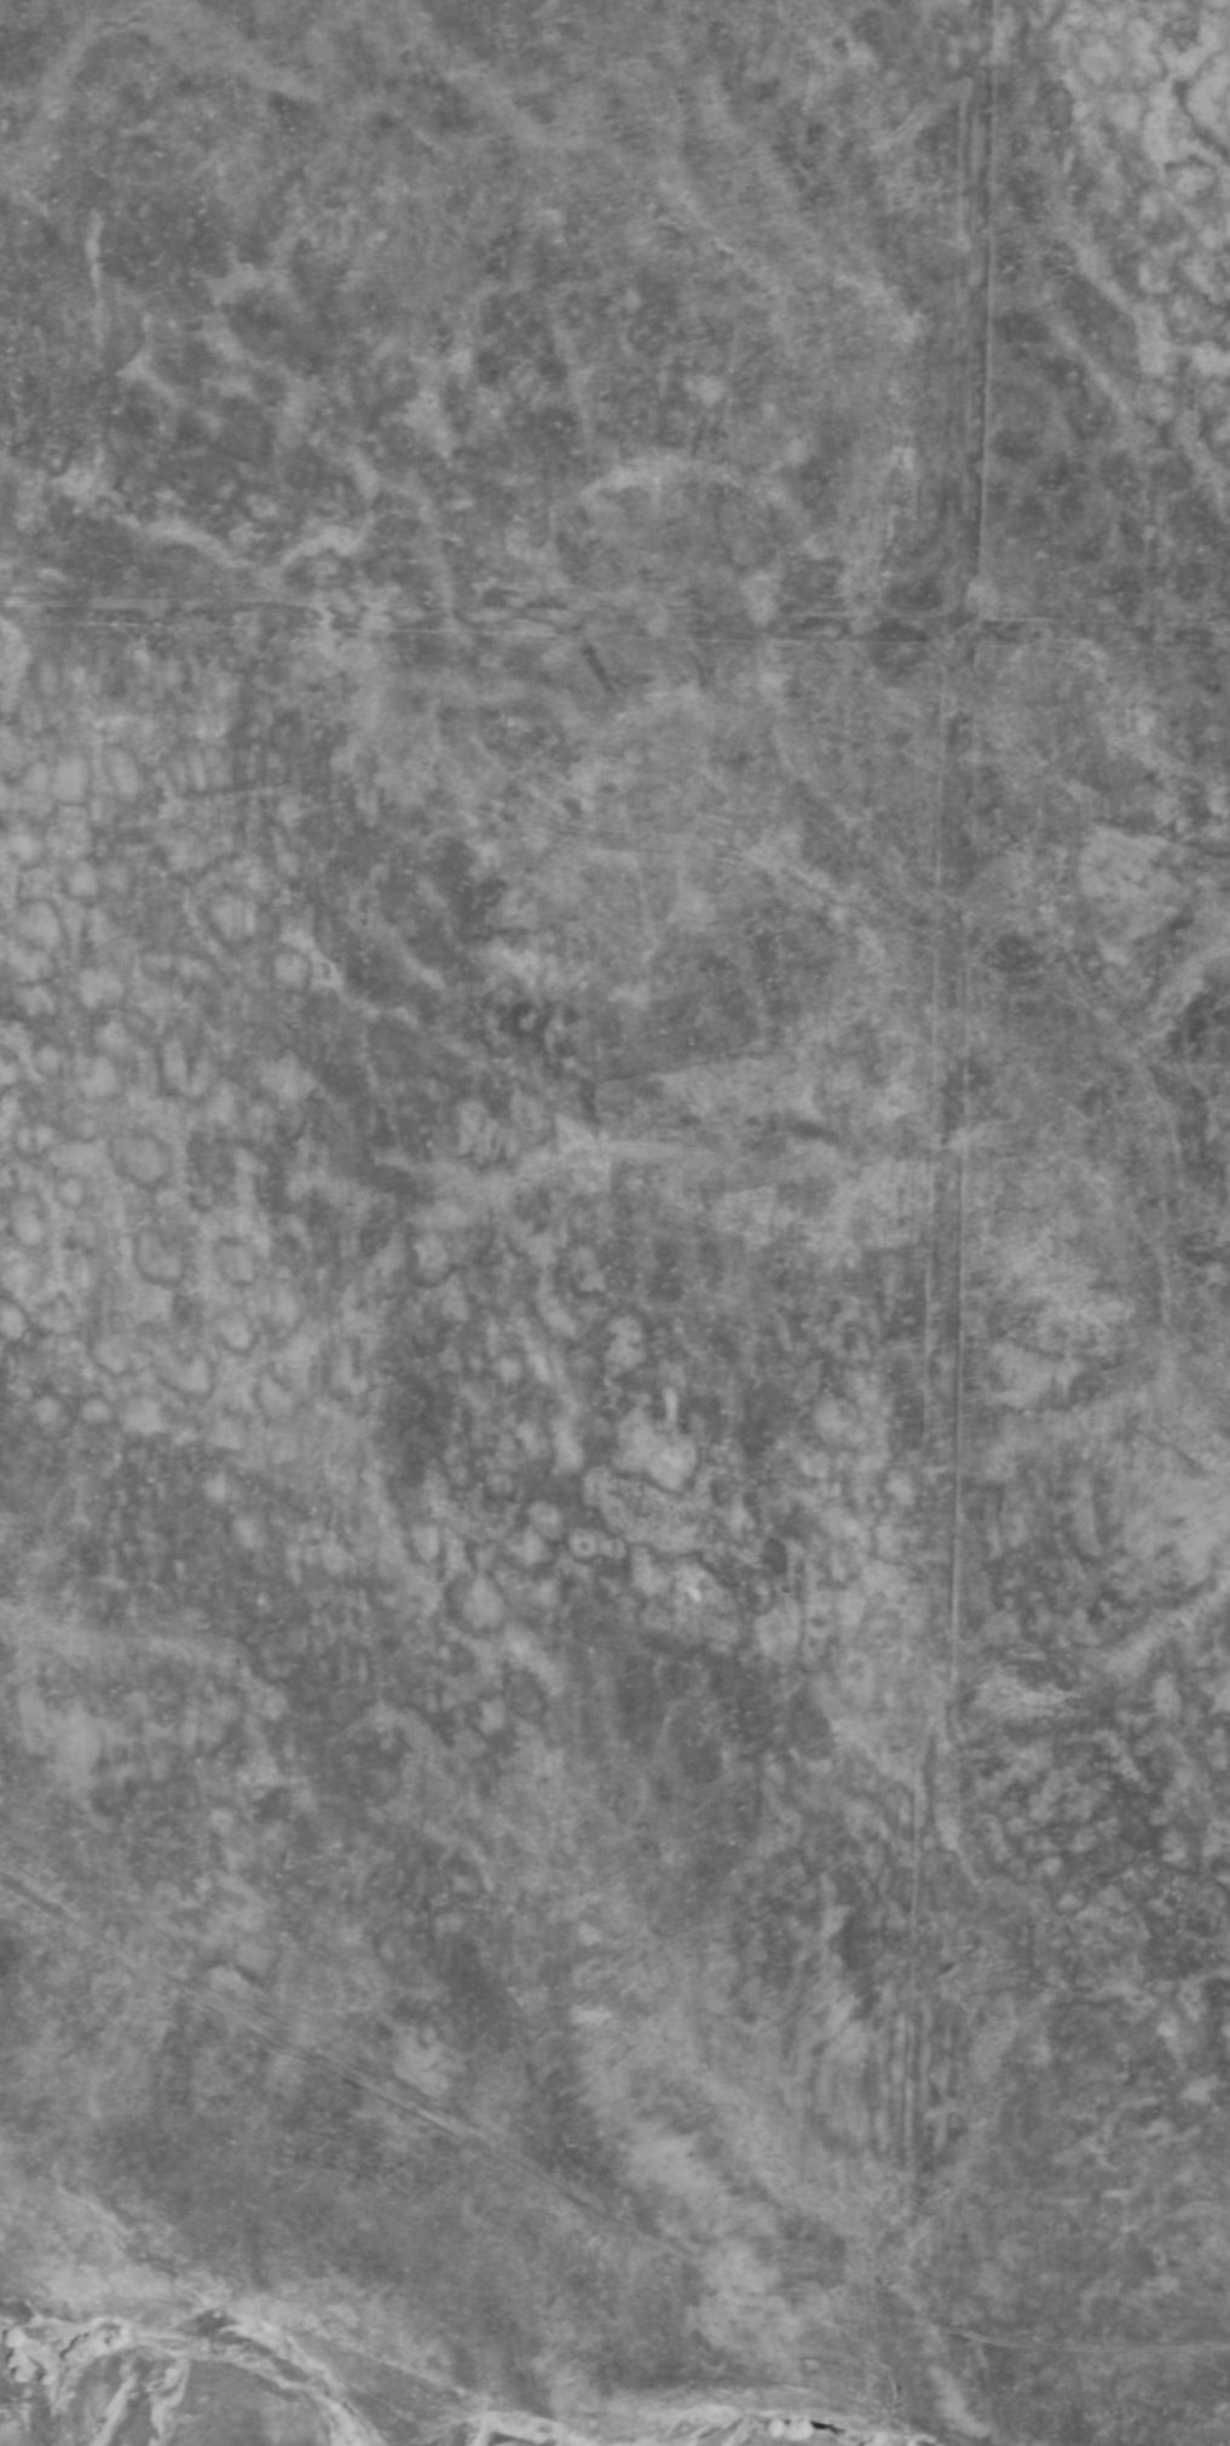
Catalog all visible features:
road: (584, 2204)
river: (197, 2344)
river: (797, 2418)

